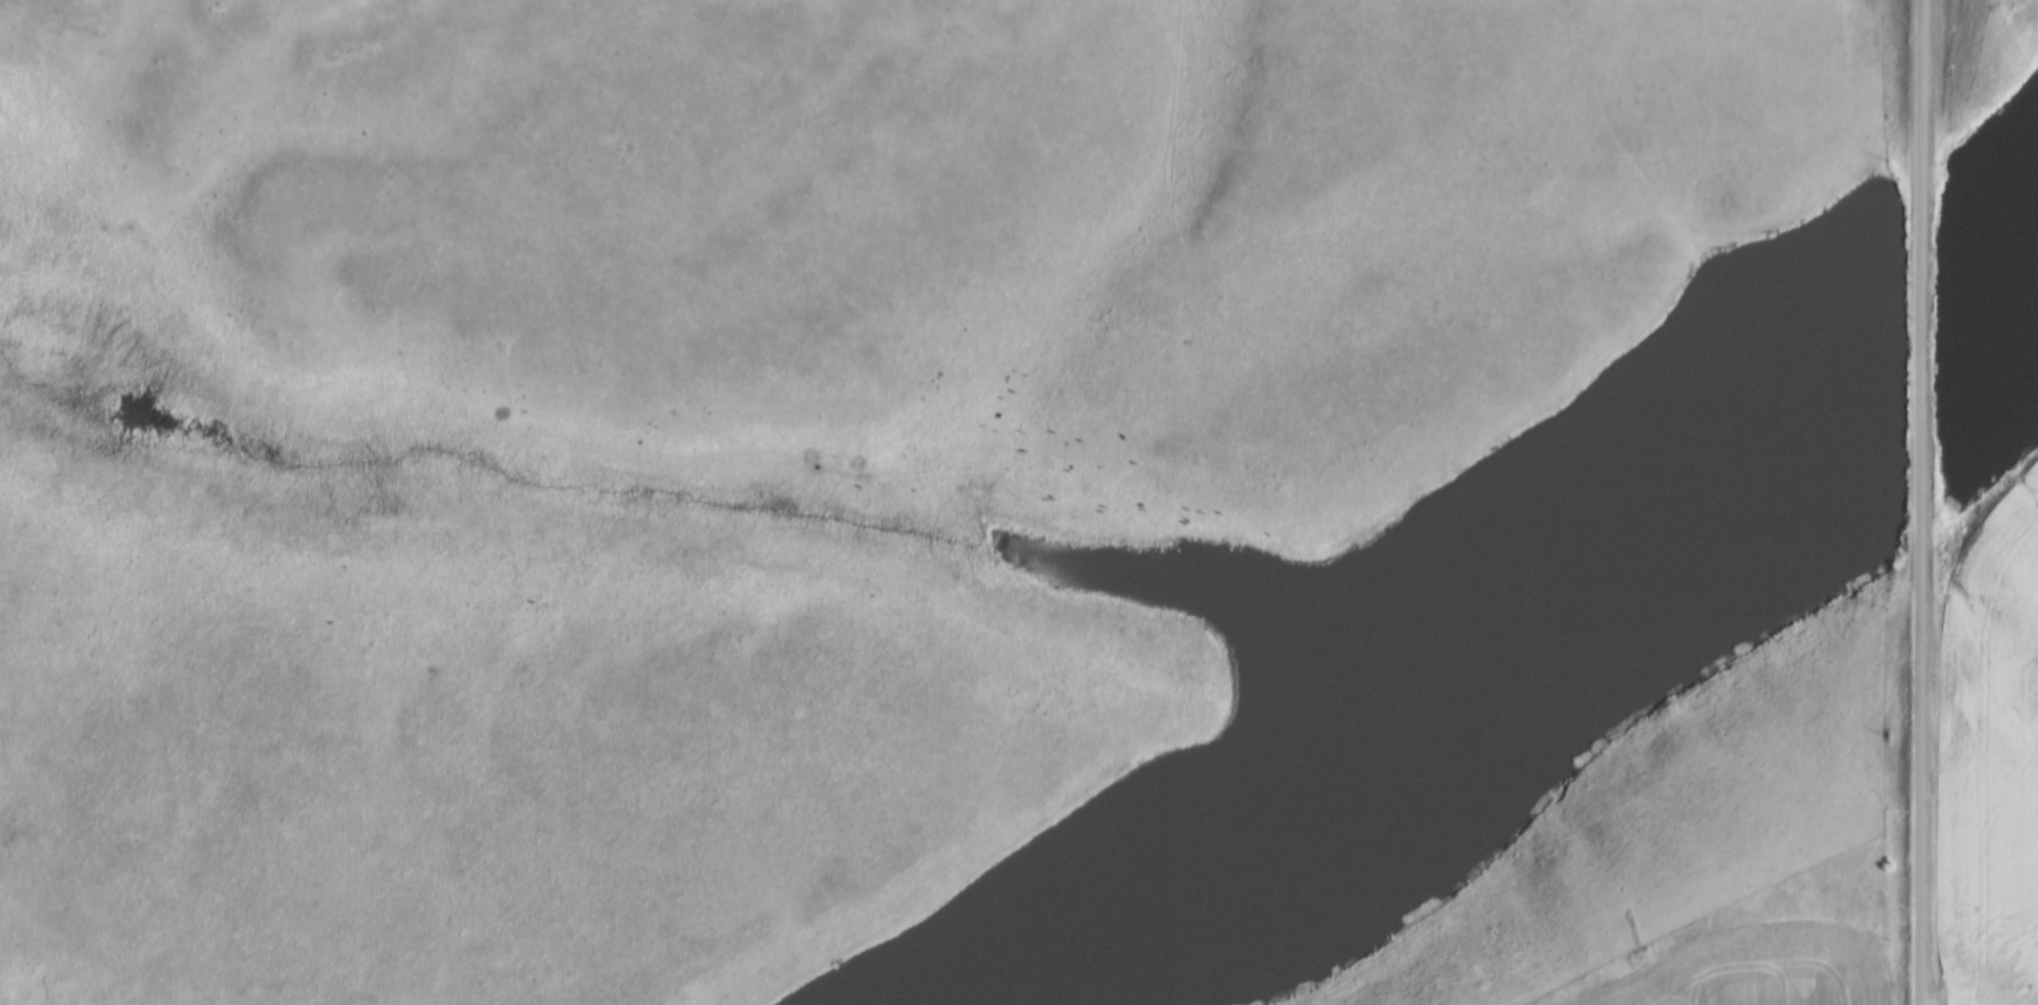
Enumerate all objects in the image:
road: (1920, 502)

